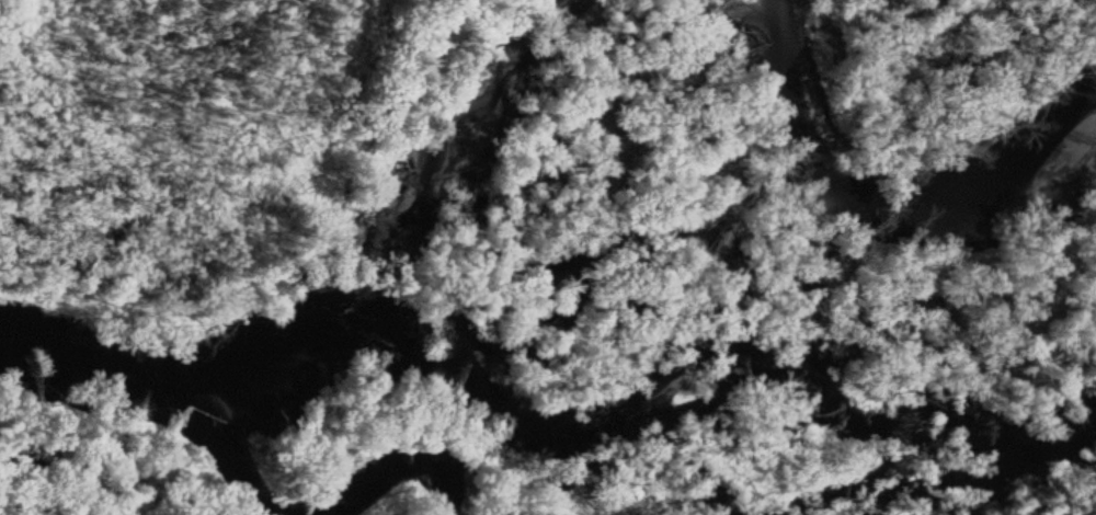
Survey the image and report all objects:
river: (880, 215)
river: (341, 302)
river: (246, 456)
river: (412, 497)

